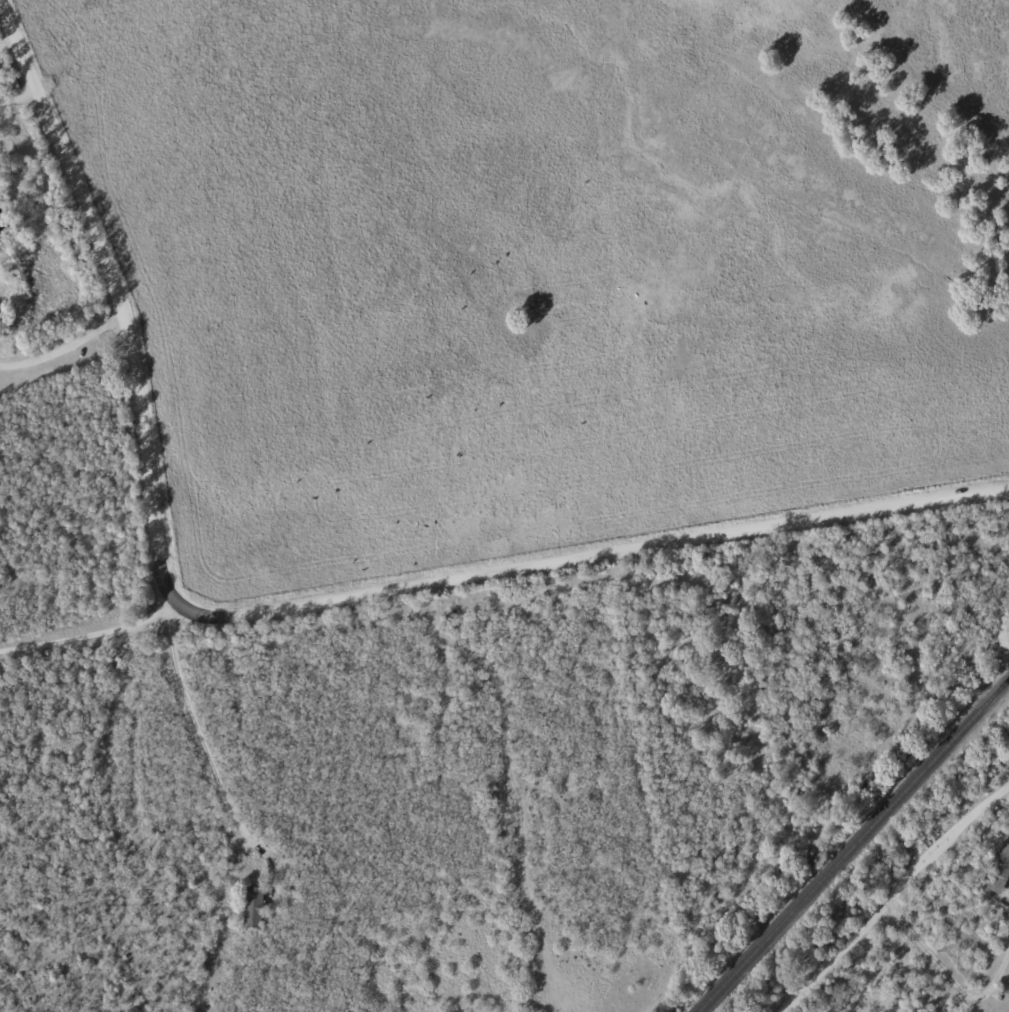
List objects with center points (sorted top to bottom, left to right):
road: (14, 101)
road: (63, 346)
road: (285, 610)
road: (89, 636)
road: (208, 736)
railway: (853, 845)
building: (1000, 872)
road: (1008, 888)
road: (894, 895)
building: (254, 908)
road: (904, 964)
road: (951, 981)

